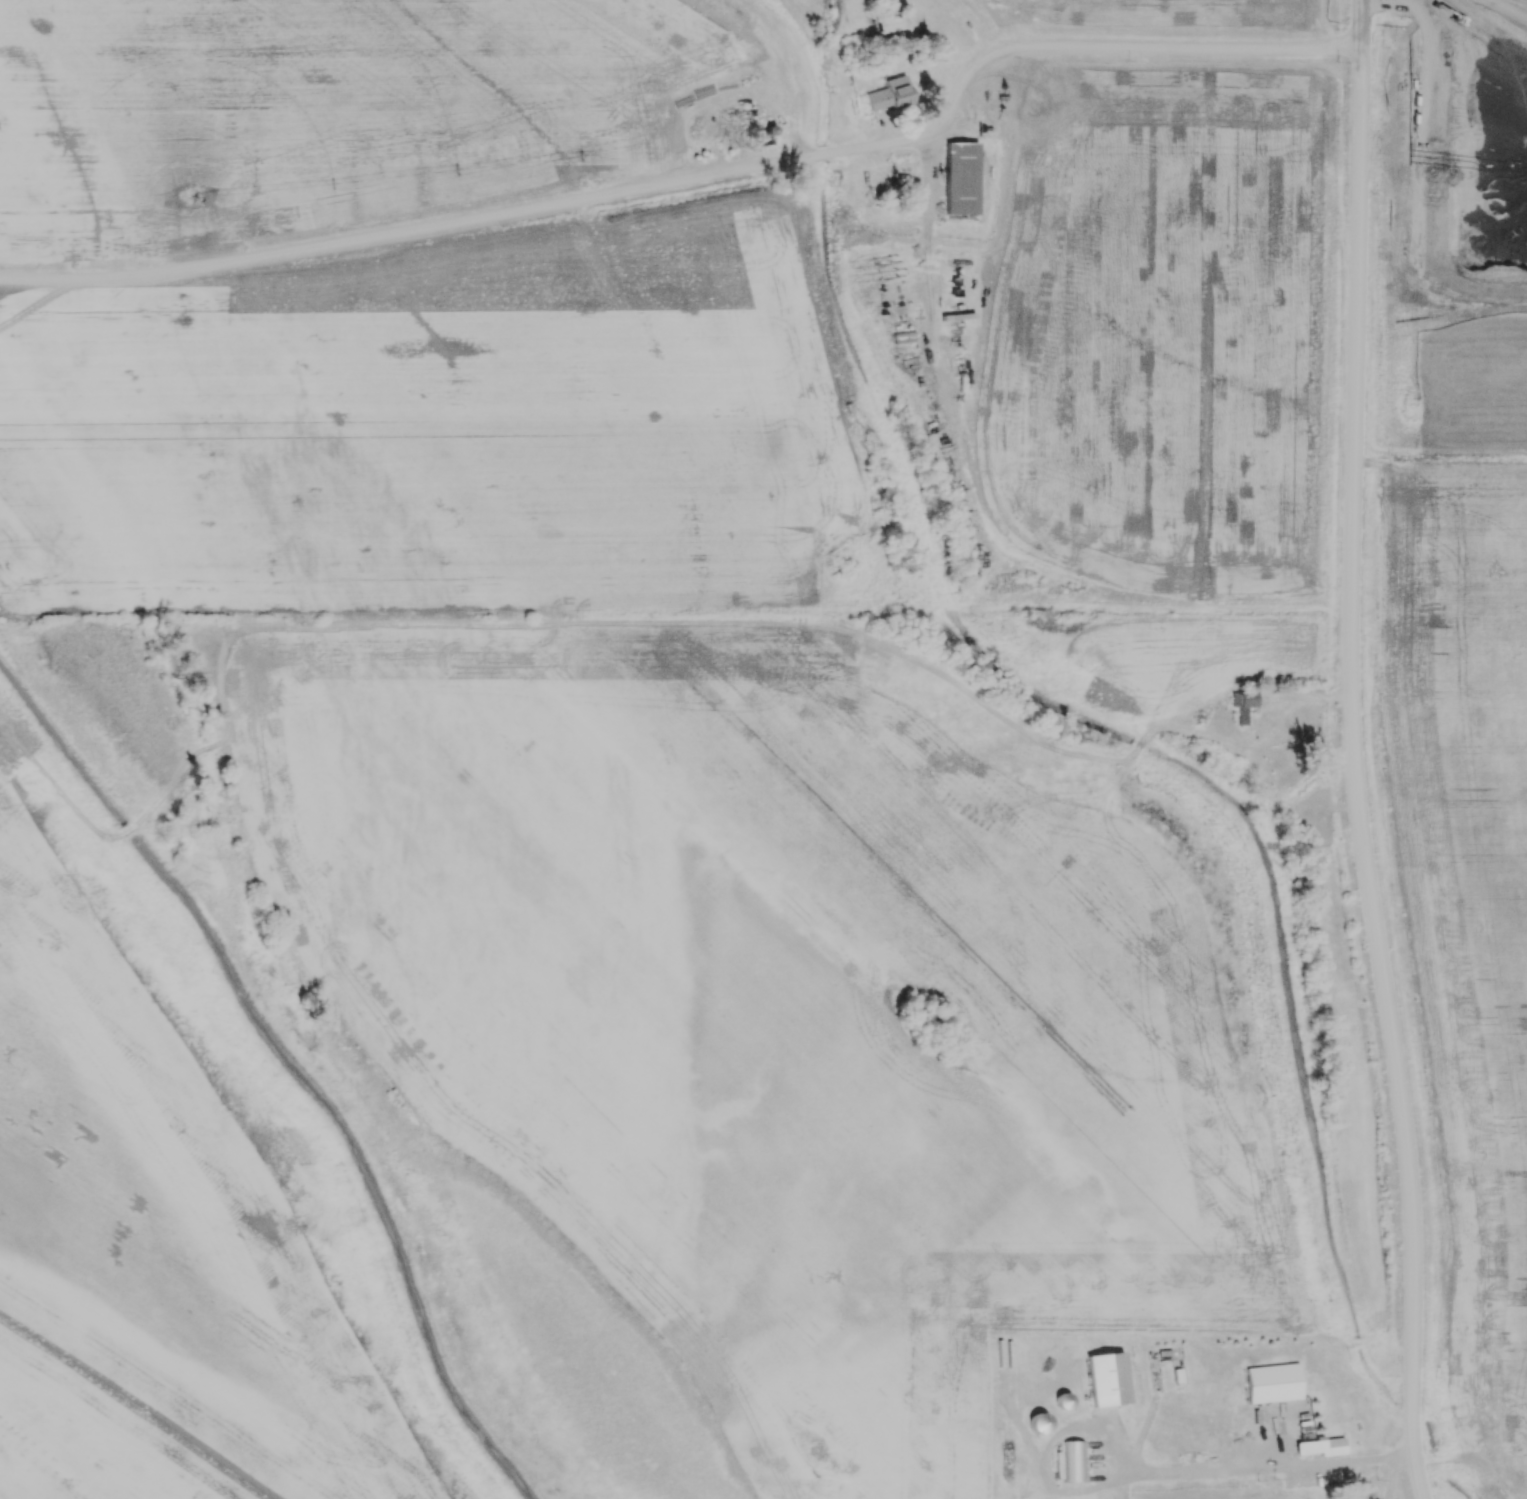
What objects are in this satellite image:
road: (696, 176)
road: (1347, 751)
road: (1150, 1470)

